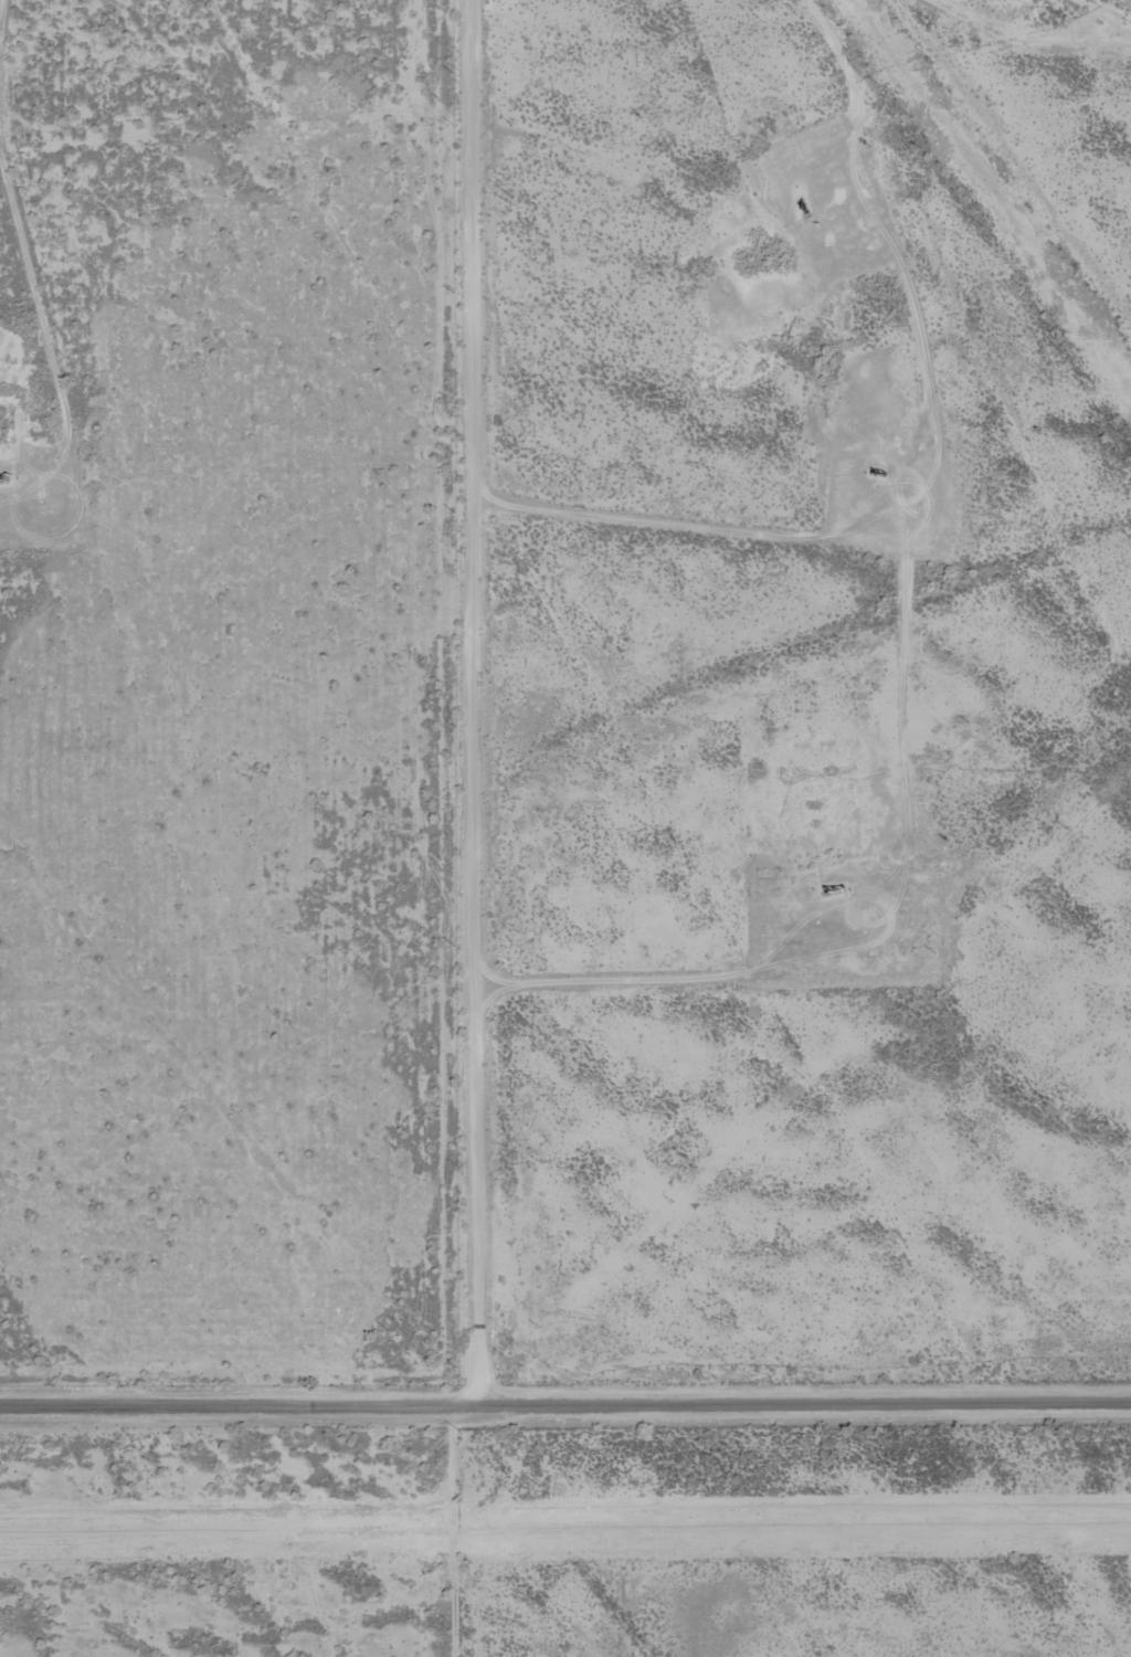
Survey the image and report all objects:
road: (464, 686)
road: (565, 1373)

